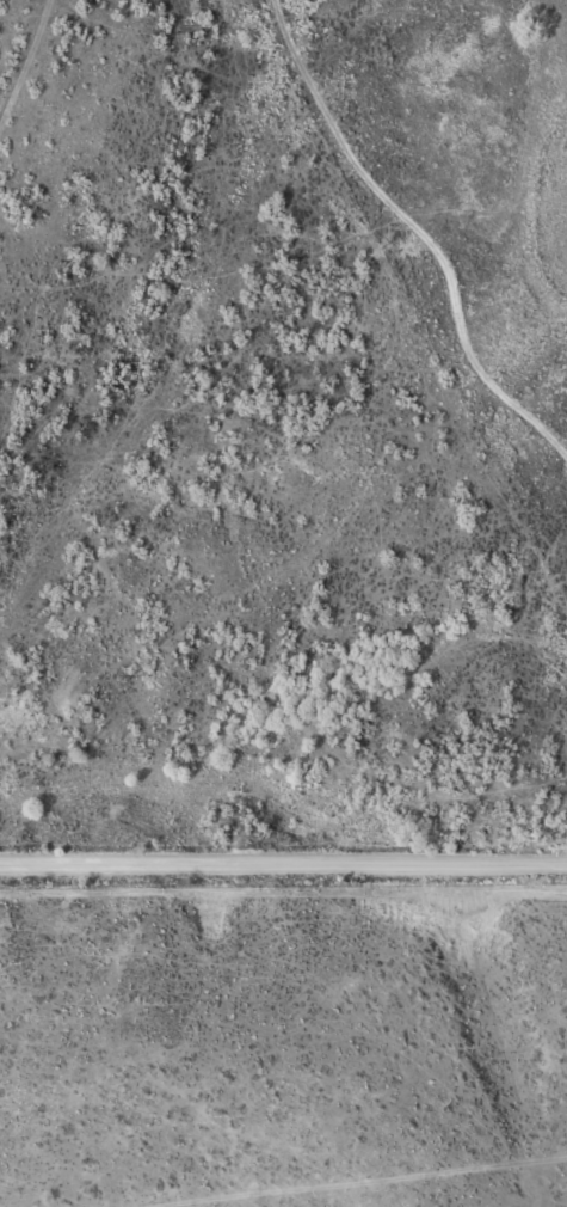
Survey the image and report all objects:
road: (283, 864)

